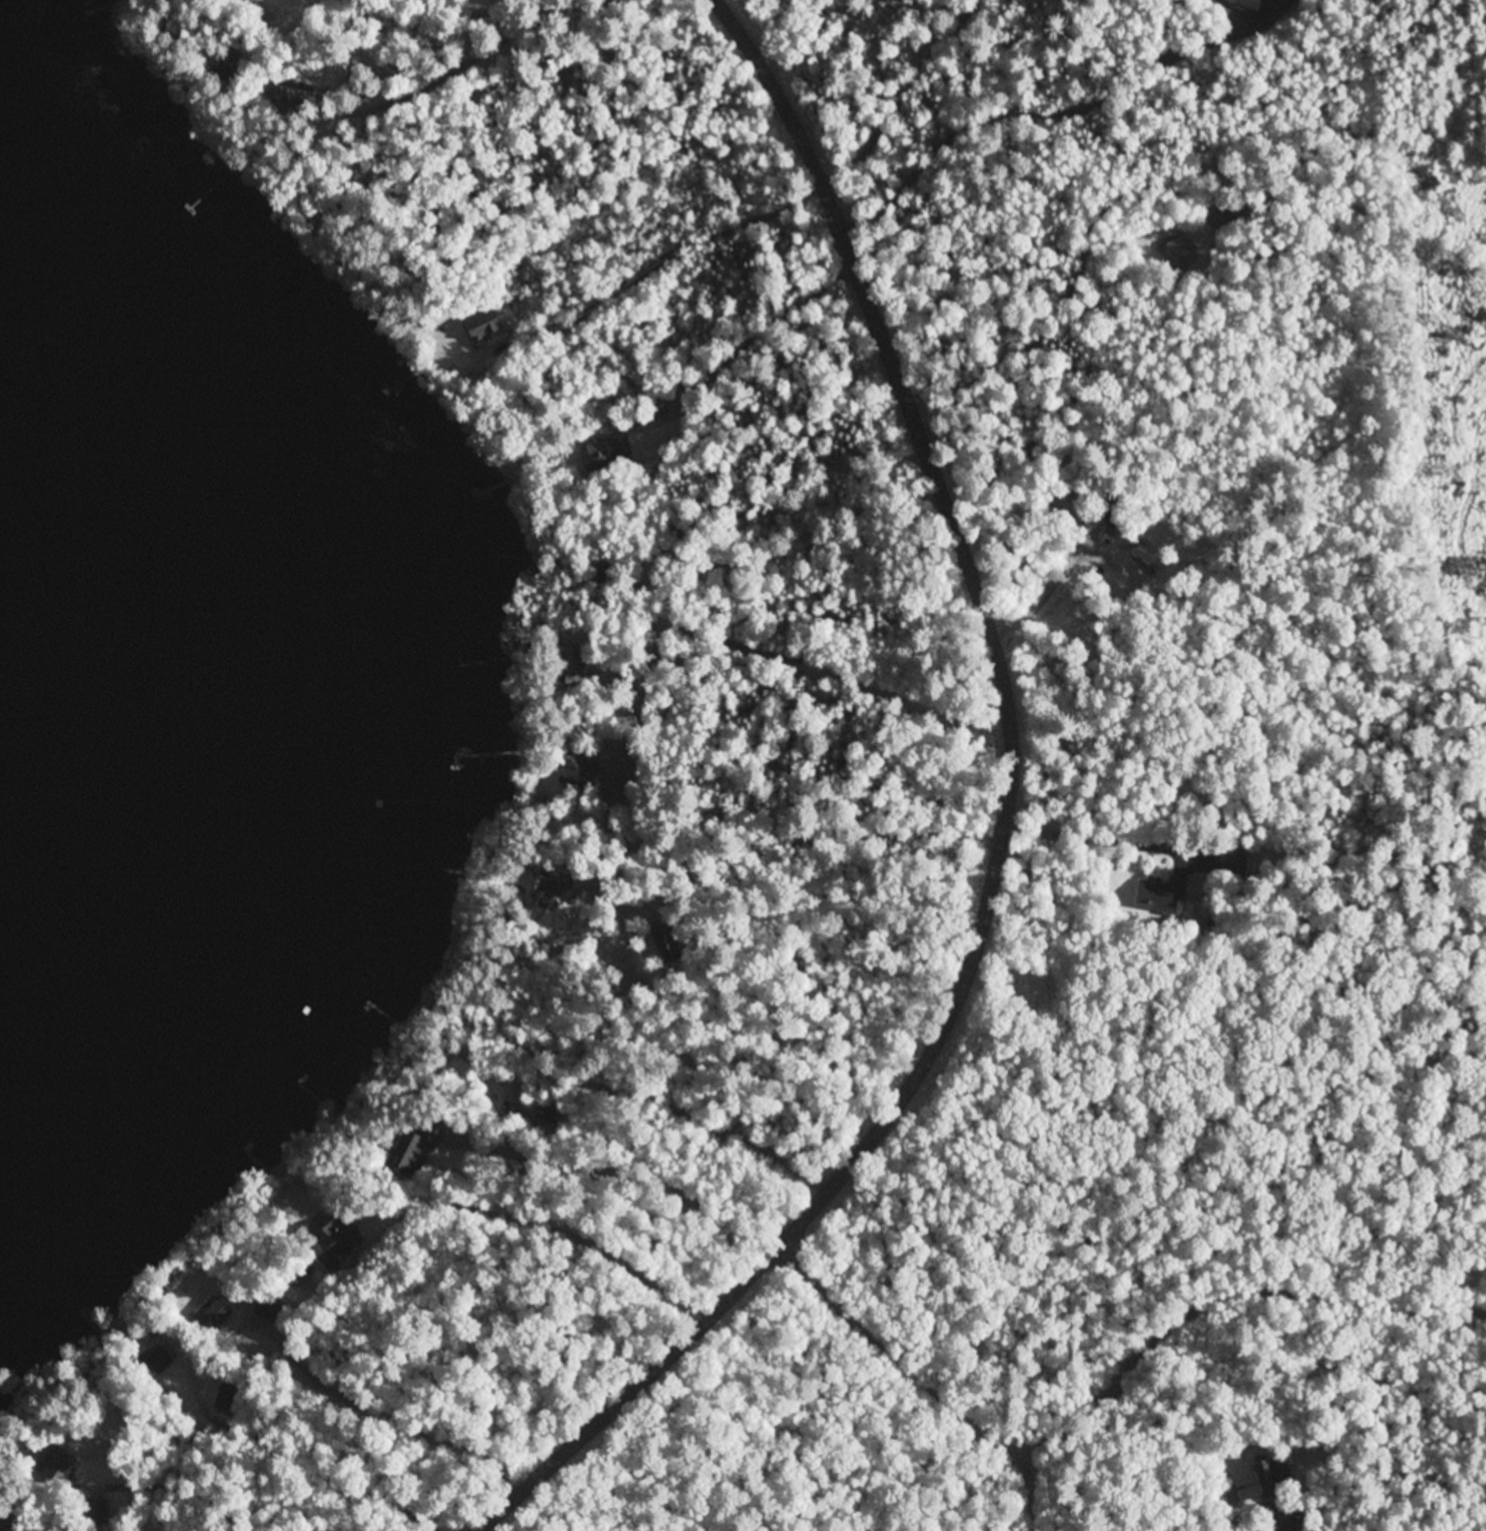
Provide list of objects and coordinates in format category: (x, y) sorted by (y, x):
road: (251, 2)
building: (1249, 6)
road: (183, 21)
road: (221, 27)
road: (173, 29)
road: (156, 36)
road: (185, 44)
road: (189, 60)
building: (235, 63)
road: (453, 66)
road: (185, 77)
building: (1182, 253)
building: (492, 324)
building: (612, 450)
road: (1008, 833)
road: (745, 837)
building: (1158, 894)
road: (561, 1222)
building: (334, 1239)
road: (1226, 1293)
building: (219, 1314)
road: (898, 1349)
building: (158, 1358)
building: (61, 1466)
road: (1038, 1489)
road: (106, 1517)

